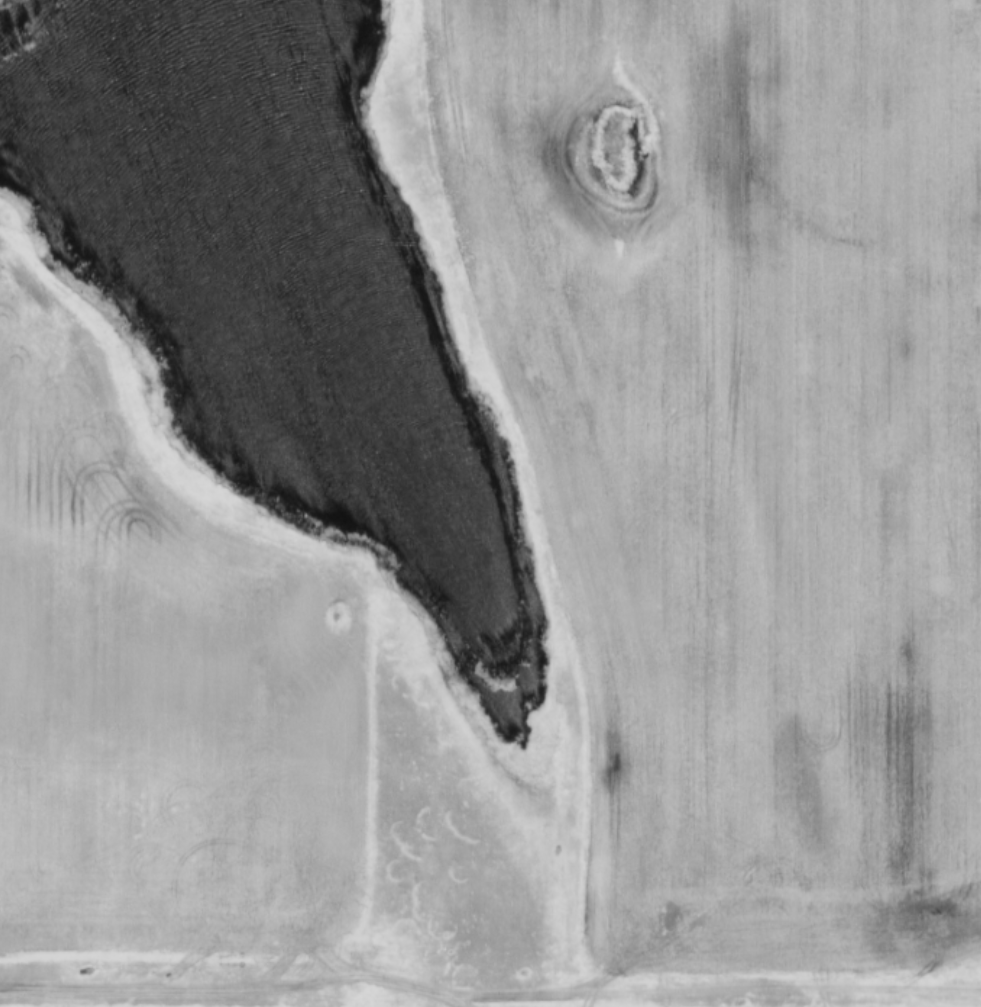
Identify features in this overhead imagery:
road: (484, 998)

